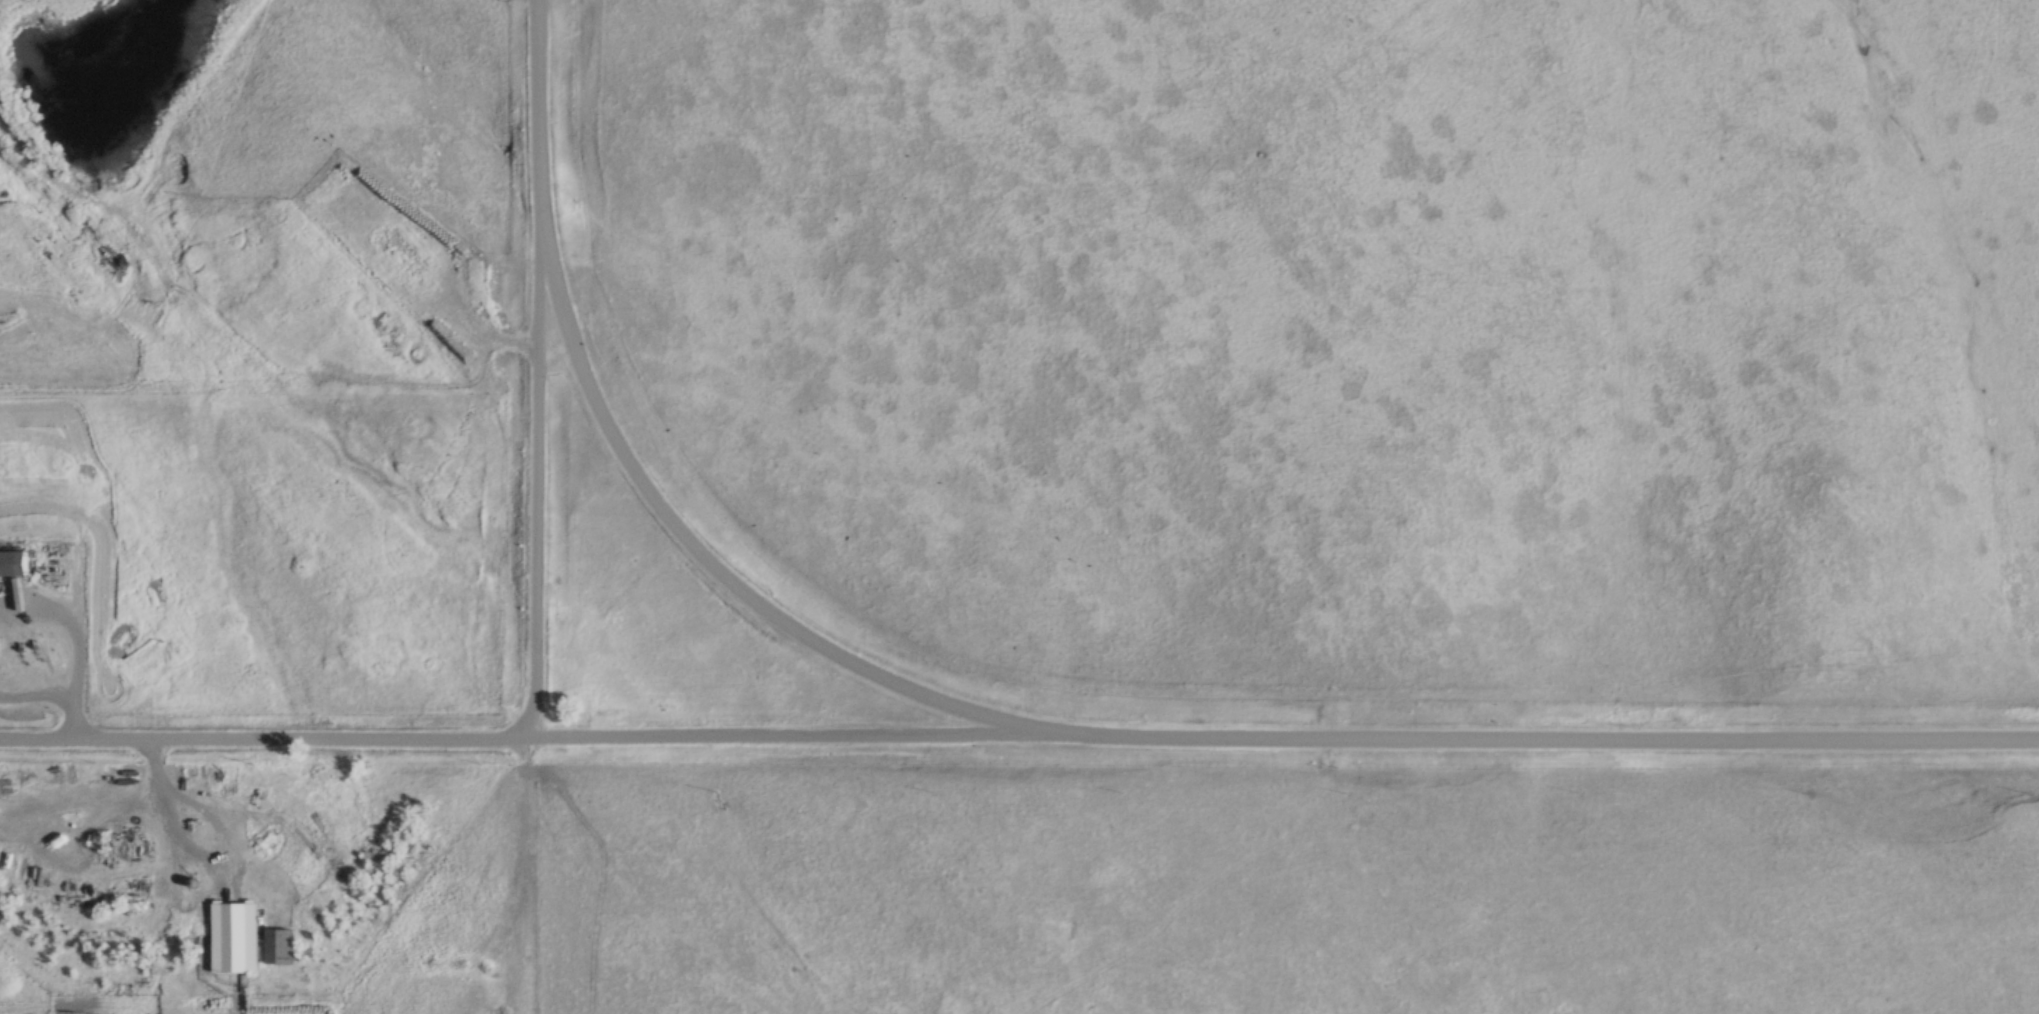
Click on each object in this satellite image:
road: (539, 369)
building: (12, 564)
road: (725, 575)
road: (1019, 740)

